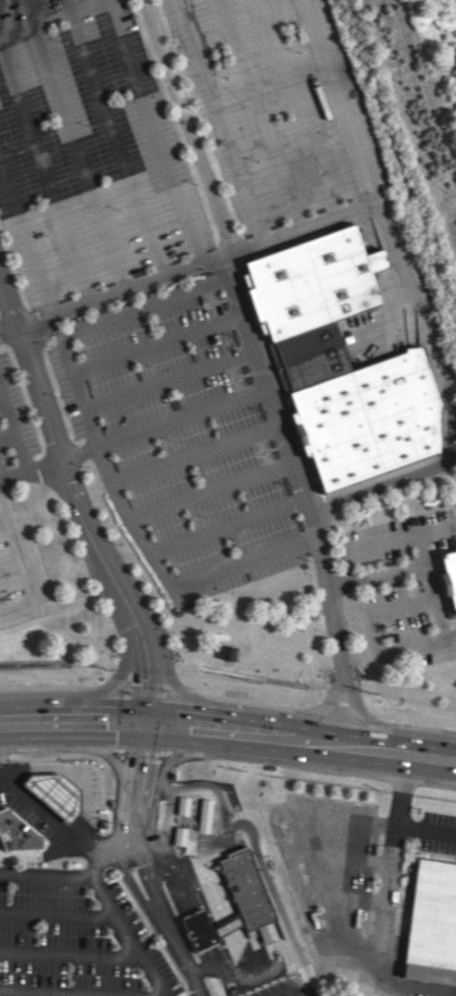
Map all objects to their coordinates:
road: (336, 103)
parking lot: (279, 104)
road: (298, 109)
road: (259, 115)
road: (223, 121)
road: (154, 132)
road: (113, 138)
road: (79, 144)
parking lot: (88, 148)
road: (44, 173)
road: (382, 214)
road: (26, 238)
parking lot: (0, 320)
road: (247, 340)
road: (154, 344)
building: (342, 361)
road: (168, 382)
road: (3, 396)
road: (12, 416)
parking lot: (13, 424)
road: (162, 424)
parking lot: (179, 438)
road: (195, 457)
road: (102, 460)
road: (63, 464)
road: (31, 471)
road: (210, 493)
road: (226, 527)
road: (421, 533)
road: (385, 540)
road: (22, 563)
road: (421, 566)
building: (450, 575)
road: (373, 630)
road: (147, 682)
road: (105, 688)
road: (180, 691)
road: (312, 714)
road: (27, 721)
road: (102, 721)
traffic signals: (149, 722)
road: (371, 722)
road: (189, 724)
road: (251, 731)
road: (339, 743)
road: (431, 756)
road: (50, 759)
road: (82, 770)
road: (326, 782)
road: (401, 791)
building: (51, 792)
road: (433, 797)
road: (28, 806)
road: (427, 829)
building: (18, 834)
road: (81, 845)
road: (318, 849)
road: (144, 861)
road: (76, 871)
road: (200, 871)
road: (264, 880)
road: (361, 892)
road: (389, 893)
building: (247, 895)
road: (55, 908)
building: (432, 923)
building: (198, 930)
road: (67, 952)
road: (150, 995)
road: (294, 995)

